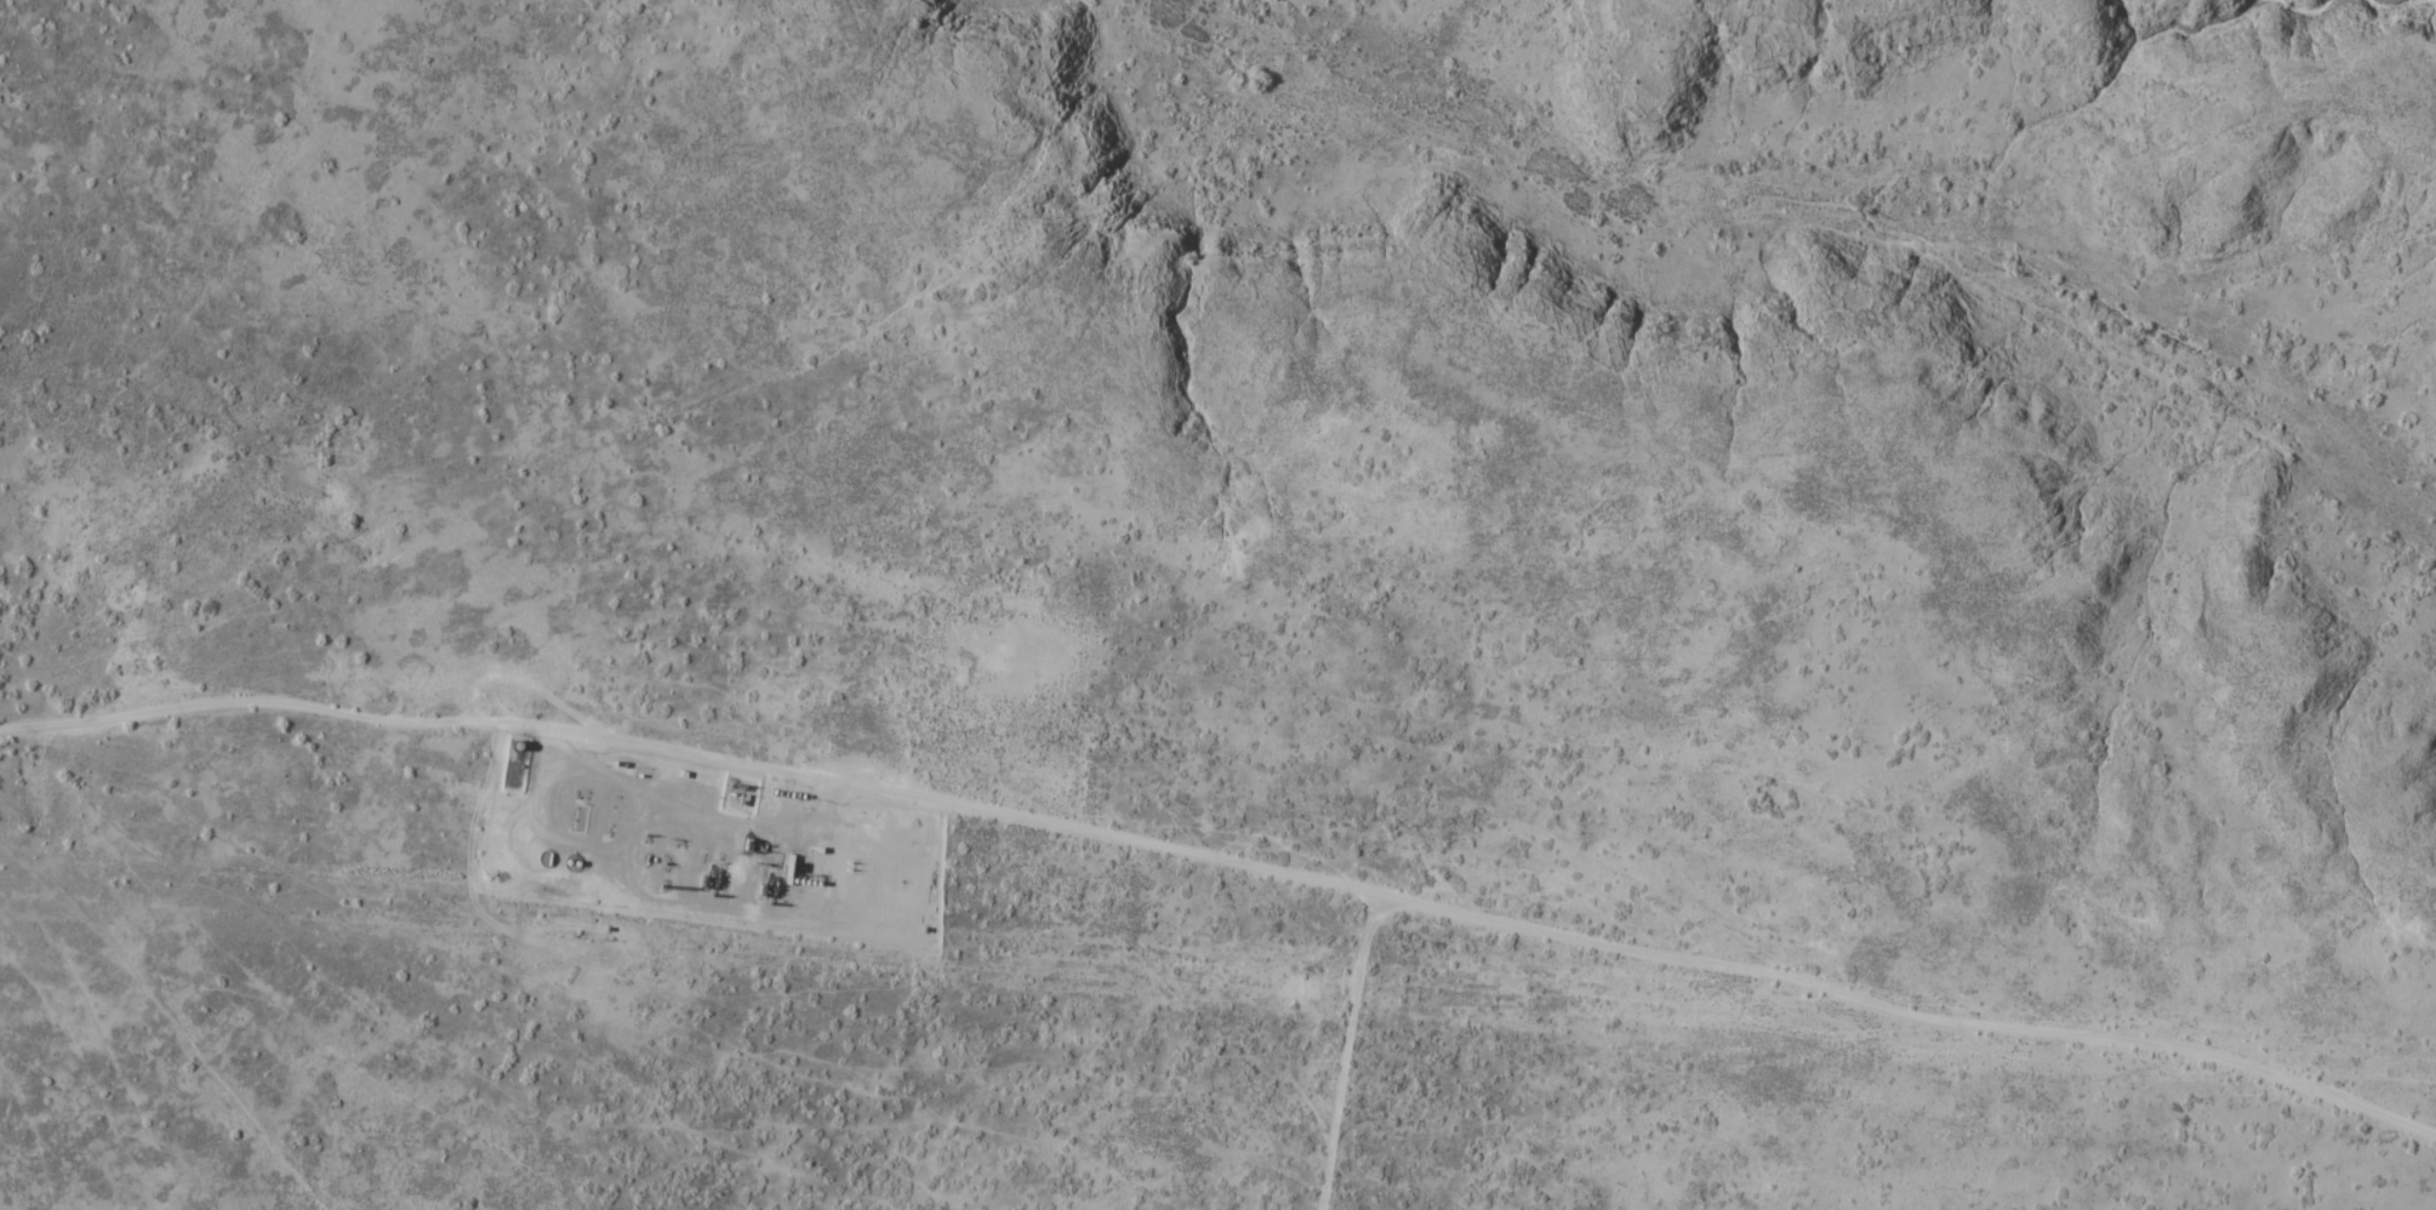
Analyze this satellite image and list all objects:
road: (1230, 837)
road: (1350, 1037)

